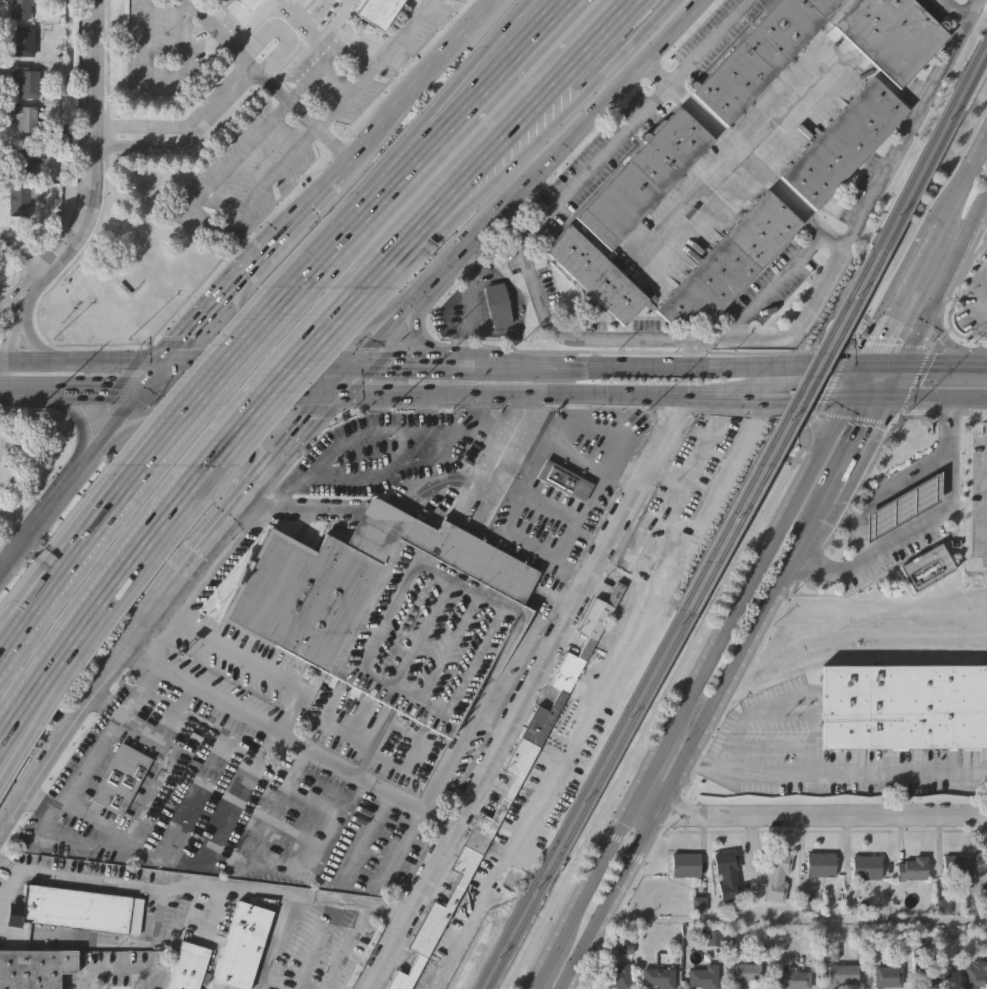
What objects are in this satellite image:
road: (193, 1)
building: (252, 4)
building: (20, 8)
building: (381, 14)
road: (646, 23)
road: (283, 32)
building: (891, 34)
road: (402, 36)
building: (23, 41)
road: (710, 43)
building: (760, 54)
road: (354, 57)
road: (163, 71)
road: (655, 73)
road: (270, 78)
building: (26, 81)
road: (411, 84)
road: (468, 87)
road: (482, 87)
road: (221, 97)
road: (530, 103)
building: (25, 115)
road: (483, 123)
road: (143, 125)
road: (529, 127)
road: (573, 132)
road: (458, 136)
building: (845, 141)
railway: (928, 141)
road: (146, 146)
road: (96, 152)
railway: (935, 153)
building: (21, 160)
road: (756, 166)
building: (644, 175)
building: (22, 197)
road: (682, 205)
road: (298, 207)
road: (983, 211)
road: (359, 218)
road: (202, 220)
road: (918, 221)
road: (514, 223)
road: (409, 233)
road: (928, 251)
road: (23, 256)
road: (253, 257)
building: (731, 261)
building: (596, 274)
road: (432, 281)
road: (774, 283)
road: (16, 289)
road: (940, 293)
road: (414, 300)
building: (500, 302)
road: (978, 304)
road: (203, 315)
road: (14, 320)
road: (305, 327)
road: (27, 329)
road: (950, 330)
road: (384, 332)
road: (414, 333)
road: (709, 340)
road: (891, 343)
road: (949, 347)
road: (695, 353)
road: (264, 358)
road: (260, 361)
traffic signals: (358, 361)
road: (398, 361)
traffic signals: (163, 362)
road: (463, 362)
road: (525, 363)
road: (111, 364)
road: (3, 365)
road: (33, 366)
road: (716, 366)
traffic signals: (871, 368)
road: (886, 368)
traffic signals: (902, 368)
road: (939, 368)
road: (982, 368)
road: (281, 372)
road: (218, 374)
road: (151, 376)
road: (343, 377)
road: (835, 377)
road: (6, 378)
road: (862, 382)
road: (894, 382)
road: (230, 385)
road: (3, 390)
traffic signals: (140, 390)
road: (30, 391)
road: (96, 391)
road: (234, 392)
traffic signals: (329, 394)
road: (555, 394)
road: (818, 396)
traffic signals: (854, 396)
road: (870, 396)
traffic signals: (887, 396)
road: (893, 396)
road: (924, 396)
road: (968, 397)
road: (122, 412)
road: (808, 422)
road: (81, 423)
road: (834, 426)
road: (212, 429)
railway: (776, 430)
railway: (787, 430)
road: (93, 450)
road: (283, 450)
road: (573, 452)
road: (854, 455)
building: (428, 456)
road: (392, 457)
road: (863, 457)
road: (447, 466)
building: (565, 480)
road: (65, 485)
road: (874, 486)
building: (902, 505)
gas station: (902, 505)
road: (300, 508)
road: (383, 511)
road: (922, 523)
road: (24, 537)
road: (76, 551)
road: (202, 553)
building: (925, 569)
road: (116, 576)
road: (81, 586)
road: (66, 591)
building: (393, 610)
railway: (875, 617)
road: (153, 618)
road: (15, 627)
road: (15, 632)
railway: (868, 648)
road: (250, 662)
road: (676, 662)
road: (528, 692)
road: (25, 698)
road: (786, 701)
building: (903, 708)
road: (25, 712)
road: (675, 724)
railway: (669, 728)
road: (578, 729)
road: (65, 732)
road: (290, 741)
road: (690, 750)
road: (294, 766)
road: (836, 771)
building: (122, 778)
building: (509, 793)
railway: (578, 799)
railway: (589, 799)
road: (805, 815)
road: (330, 822)
building: (686, 863)
building: (821, 863)
building: (867, 866)
building: (957, 867)
building: (913, 868)
building: (728, 873)
building: (778, 873)
road: (204, 881)
road: (9, 885)
building: (72, 908)
road: (793, 917)
road: (100, 940)
road: (271, 941)
building: (240, 944)
building: (188, 965)
building: (34, 968)
building: (844, 973)
building: (973, 973)
building: (745, 975)
building: (888, 975)
building: (935, 975)
building: (617, 976)
building: (704, 976)
building: (659, 977)
building: (794, 980)

